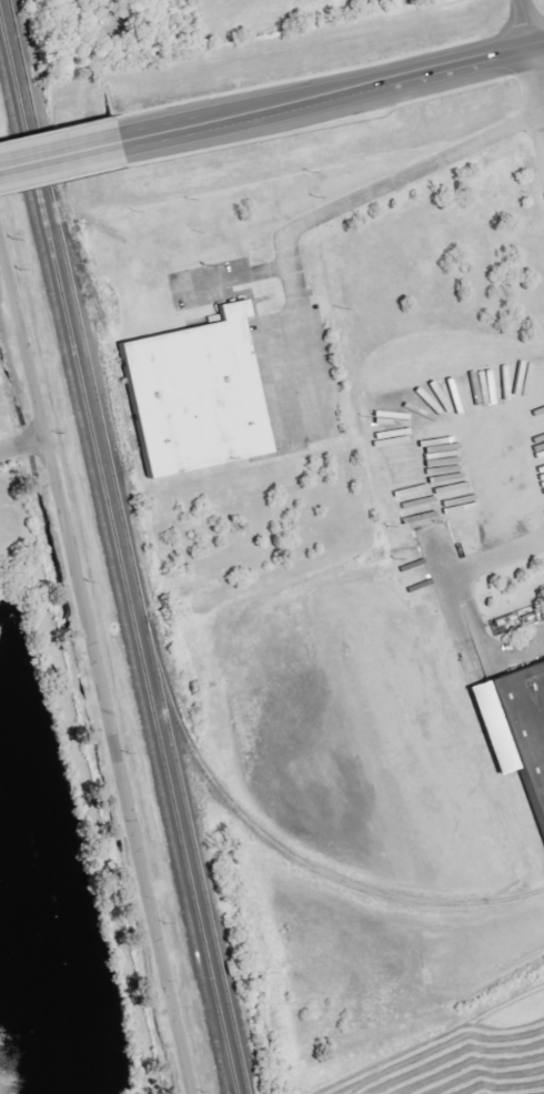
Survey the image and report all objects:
road: (526, 22)
road: (538, 44)
road: (463, 60)
road: (538, 70)
road: (295, 99)
road: (151, 133)
road: (52, 153)
road: (325, 213)
railway: (98, 318)
building: (200, 385)
road: (20, 442)
road: (497, 555)
railway: (115, 566)
railway: (132, 579)
railway: (110, 587)
road: (99, 677)
building: (526, 716)
railway: (193, 862)

